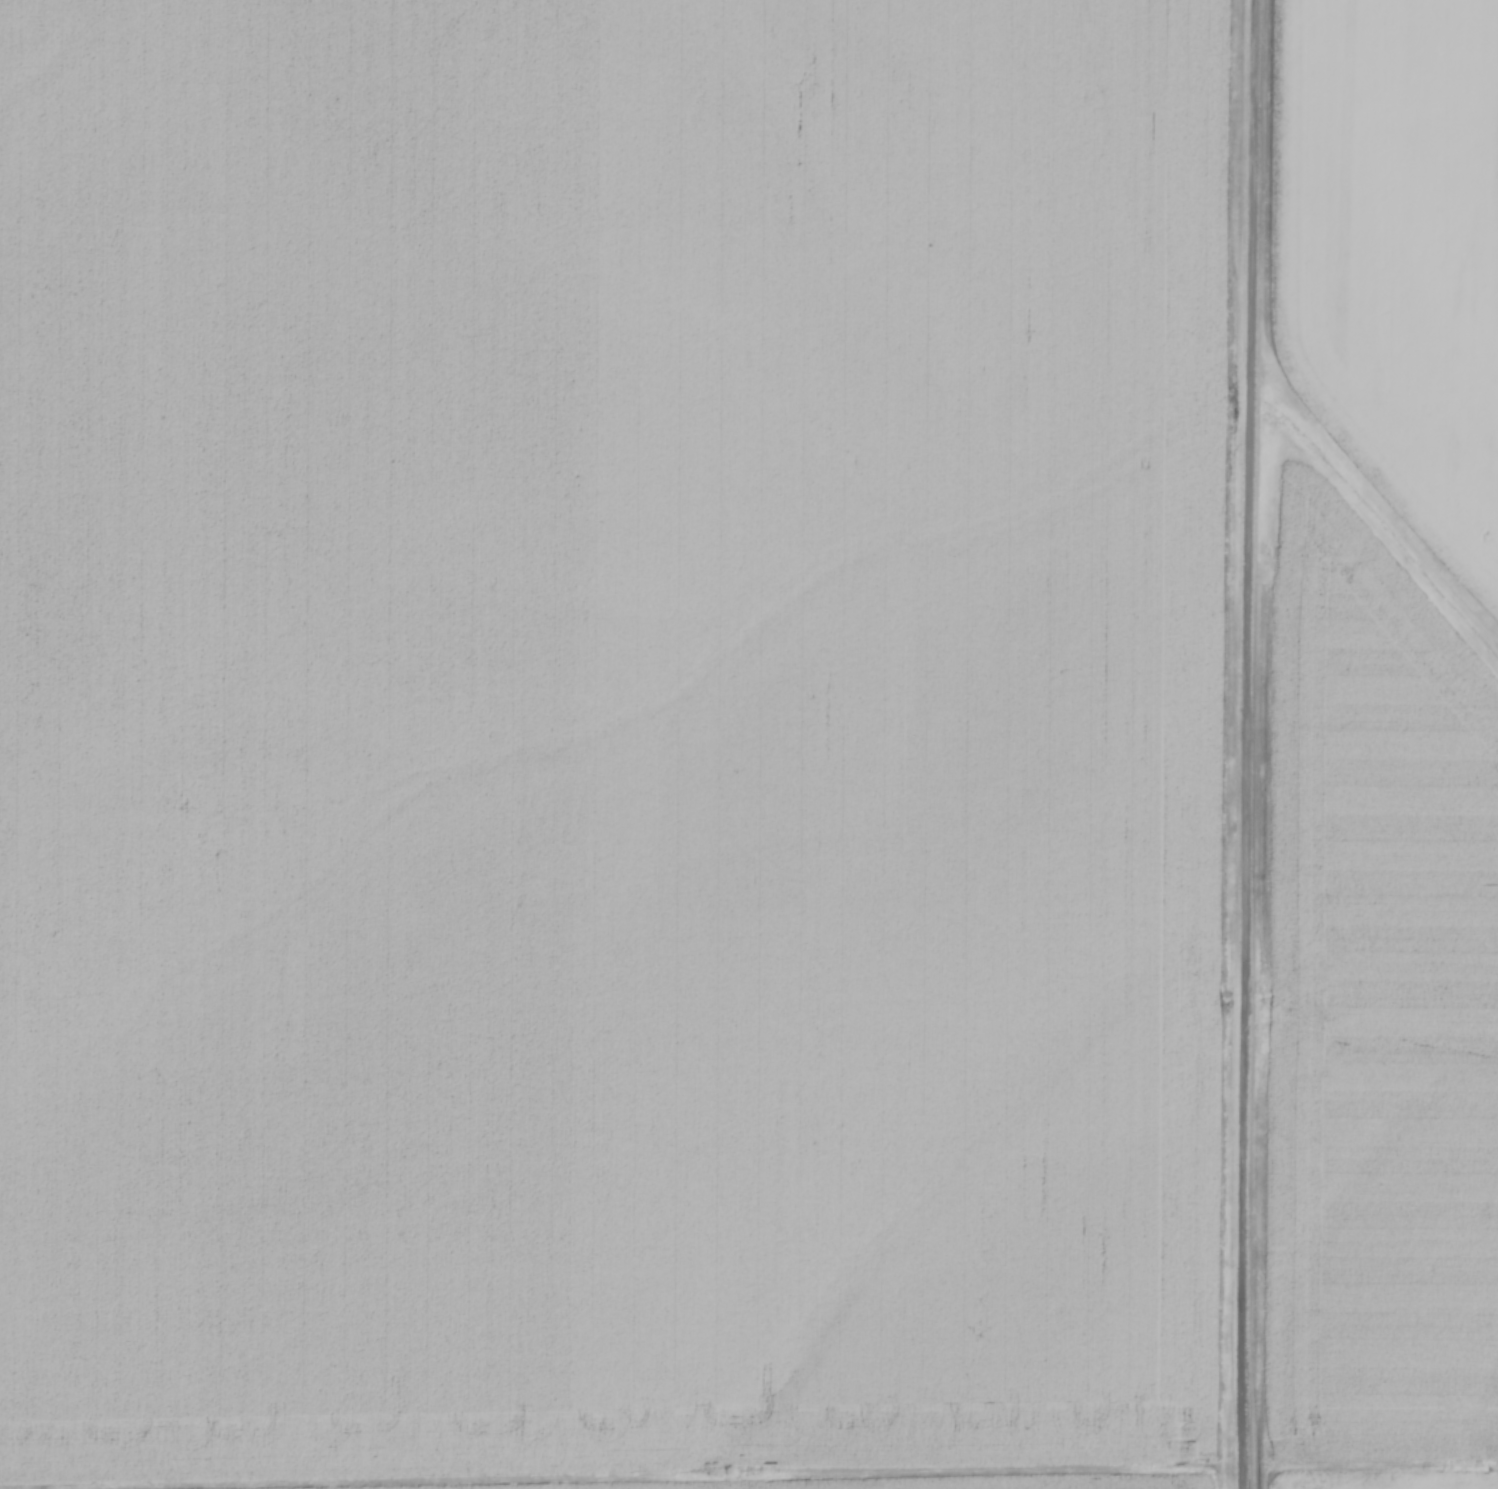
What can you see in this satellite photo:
road: (1243, 744)

